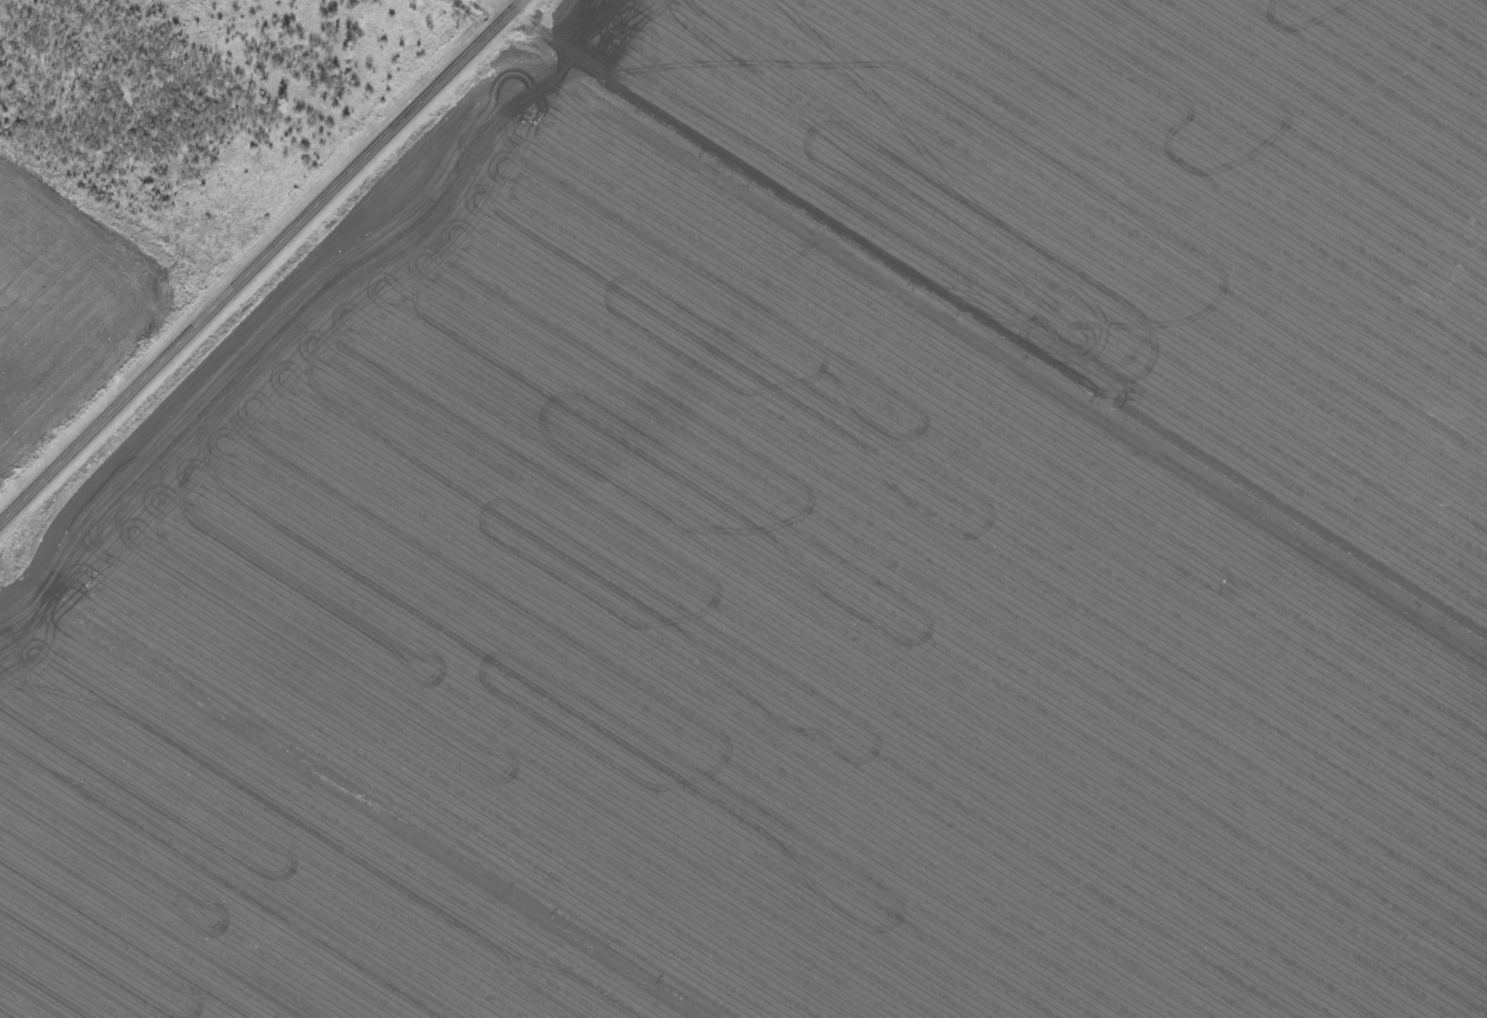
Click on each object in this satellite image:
road: (501, 6)
road: (261, 262)

